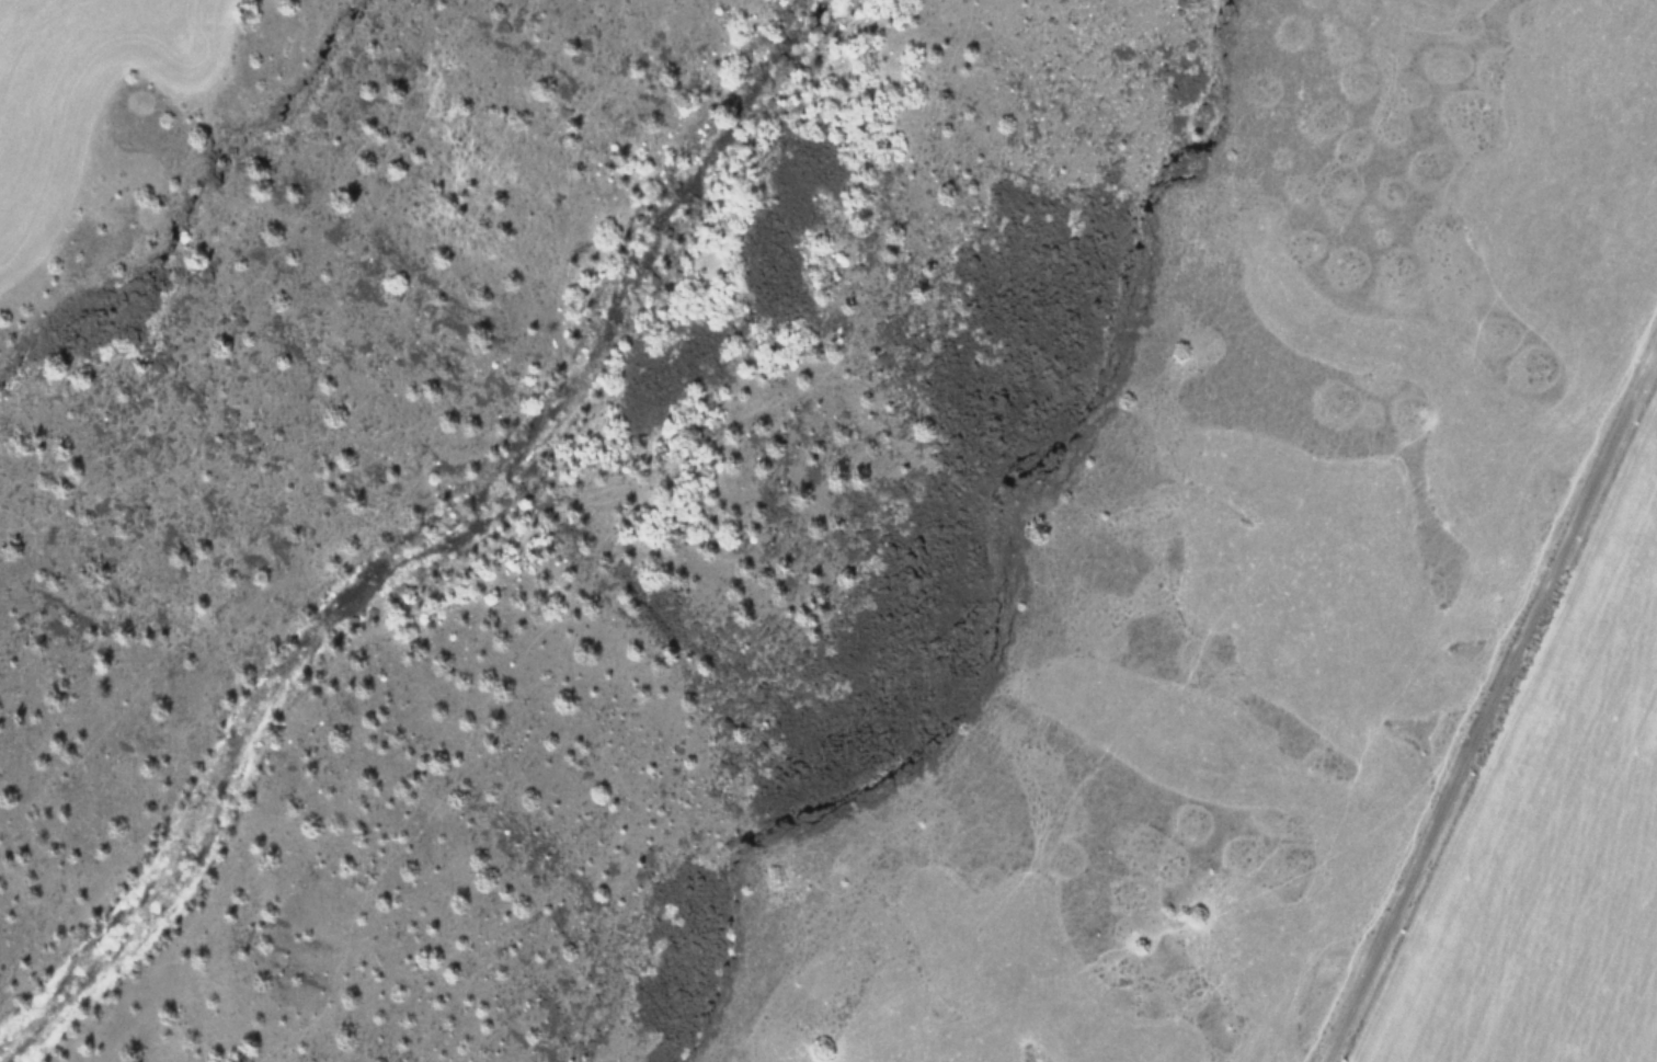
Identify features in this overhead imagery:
road: (1492, 709)

